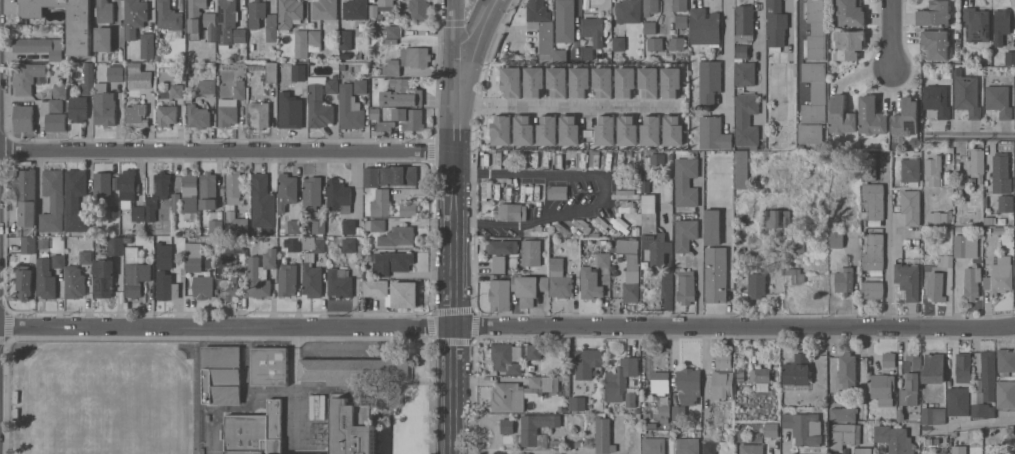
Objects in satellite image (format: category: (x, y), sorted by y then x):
building: (386, 5)
building: (680, 5)
building: (651, 7)
building: (325, 9)
building: (356, 9)
building: (419, 9)
building: (104, 11)
building: (373, 11)
building: (629, 11)
building: (851, 12)
building: (290, 13)
building: (935, 13)
building: (169, 15)
building: (135, 17)
building: (195, 17)
building: (681, 20)
building: (227, 21)
building: (565, 21)
building: (271, 22)
building: (745, 22)
building: (210, 25)
building: (776, 25)
building: (976, 25)
building: (1002, 25)
building: (704, 26)
building: (541, 27)
building: (650, 27)
building: (595, 29)
building: (817, 29)
building: (393, 30)
road: (892, 33)
building: (374, 34)
building: (240, 35)
road: (473, 35)
building: (79, 36)
building: (104, 38)
building: (345, 39)
building: (315, 40)
building: (301, 43)
building: (619, 43)
building: (655, 43)
building: (677, 43)
building: (936, 43)
road: (798, 44)
building: (849, 44)
building: (147, 45)
building: (40, 46)
building: (741, 52)
building: (588, 54)
building: (560, 55)
building: (415, 56)
building: (1010, 57)
road: (729, 61)
building: (392, 67)
road: (762, 67)
building: (271, 71)
building: (116, 72)
building: (297, 72)
building: (745, 73)
building: (139, 76)
building: (29, 77)
building: (88, 79)
building: (776, 79)
building: (299, 80)
building: (511, 81)
building: (709, 81)
building: (534, 82)
building: (557, 82)
building: (580, 82)
building: (603, 82)
building: (671, 82)
building: (625, 83)
building: (648, 83)
building: (177, 86)
building: (208, 86)
building: (332, 86)
building: (361, 86)
building: (61, 91)
building: (815, 92)
building: (402, 93)
building: (967, 95)
building: (937, 100)
building: (999, 100)
building: (232, 104)
building: (56, 105)
building: (104, 105)
road: (566, 106)
building: (319, 107)
building: (78, 108)
building: (350, 108)
building: (259, 114)
building: (291, 114)
building: (136, 115)
building: (167, 115)
building: (841, 115)
building: (198, 116)
building: (872, 116)
building: (409, 117)
building: (906, 117)
building: (24, 118)
building: (746, 119)
building: (381, 121)
building: (56, 122)
building: (502, 130)
building: (524, 131)
building: (569, 131)
building: (605, 131)
building: (627, 131)
building: (673, 131)
building: (548, 132)
building: (651, 132)
building: (810, 132)
building: (713, 133)
road: (970, 136)
road: (227, 151)
building: (657, 158)
building: (977, 161)
building: (868, 166)
building: (741, 169)
building: (933, 169)
building: (911, 170)
road: (573, 173)
building: (1001, 173)
building: (400, 175)
building: (371, 177)
building: (685, 182)
building: (127, 184)
building: (234, 185)
building: (104, 187)
building: (287, 190)
building: (208, 191)
building: (499, 191)
building: (558, 191)
building: (158, 193)
building: (312, 193)
building: (190, 194)
building: (25, 196)
building: (339, 196)
building: (974, 199)
building: (53, 200)
building: (76, 201)
building: (263, 201)
building: (176, 202)
building: (874, 202)
building: (381, 203)
building: (1006, 203)
building: (911, 206)
building: (408, 209)
building: (115, 211)
building: (511, 211)
building: (138, 213)
building: (937, 216)
building: (777, 218)
building: (236, 222)
road: (500, 222)
building: (375, 224)
building: (294, 226)
building: (318, 226)
building: (712, 226)
building: (215, 227)
building: (351, 227)
road: (456, 227)
building: (653, 233)
building: (685, 233)
building: (398, 236)
road: (700, 240)
building: (836, 240)
road: (888, 240)
building: (314, 243)
building: (28, 244)
building: (235, 244)
building: (115, 245)
building: (294, 245)
building: (349, 245)
building: (965, 245)
building: (503, 246)
building: (531, 252)
building: (873, 254)
building: (193, 255)
building: (86, 257)
building: (600, 259)
building: (58, 260)
building: (945, 260)
building: (392, 262)
building: (499, 263)
building: (220, 266)
building: (630, 266)
building: (242, 271)
building: (135, 272)
building: (261, 273)
building: (166, 274)
building: (716, 274)
building: (795, 274)
building: (1000, 275)
building: (46, 278)
building: (103, 278)
building: (559, 278)
building: (287, 279)
building: (312, 279)
building: (844, 279)
building: (908, 279)
building: (972, 281)
building: (74, 282)
building: (339, 282)
building: (590, 283)
building: (757, 283)
building: (25, 284)
building: (203, 286)
building: (686, 286)
building: (935, 286)
building: (227, 287)
building: (529, 288)
road: (666, 289)
building: (872, 289)
building: (394, 292)
building: (500, 294)
road: (507, 324)
building: (328, 349)
building: (359, 350)
building: (534, 351)
building: (505, 358)
building: (724, 359)
building: (889, 359)
building: (1006, 360)
building: (587, 361)
building: (270, 366)
building: (963, 367)
building: (933, 368)
building: (797, 369)
building: (354, 370)
building: (846, 370)
building: (222, 374)
building: (621, 374)
building: (760, 374)
building: (988, 374)
building: (660, 381)
building: (911, 381)
building: (538, 382)
building: (723, 384)
building: (689, 385)
building: (881, 388)
building: (1006, 394)
building: (508, 397)
building: (631, 400)
building: (958, 400)
building: (578, 403)
building: (980, 409)
building: (678, 412)
building: (664, 413)
building: (842, 414)
building: (934, 415)
building: (354, 425)
building: (507, 425)
road: (970, 426)
building: (538, 428)
building: (804, 428)
building: (771, 429)
building: (256, 431)
building: (842, 434)
building: (604, 435)
building: (895, 439)
building: (557, 444)
building: (653, 445)
building: (688, 445)
building: (709, 448)
building: (751, 448)
building: (959, 449)
building: (863, 450)

